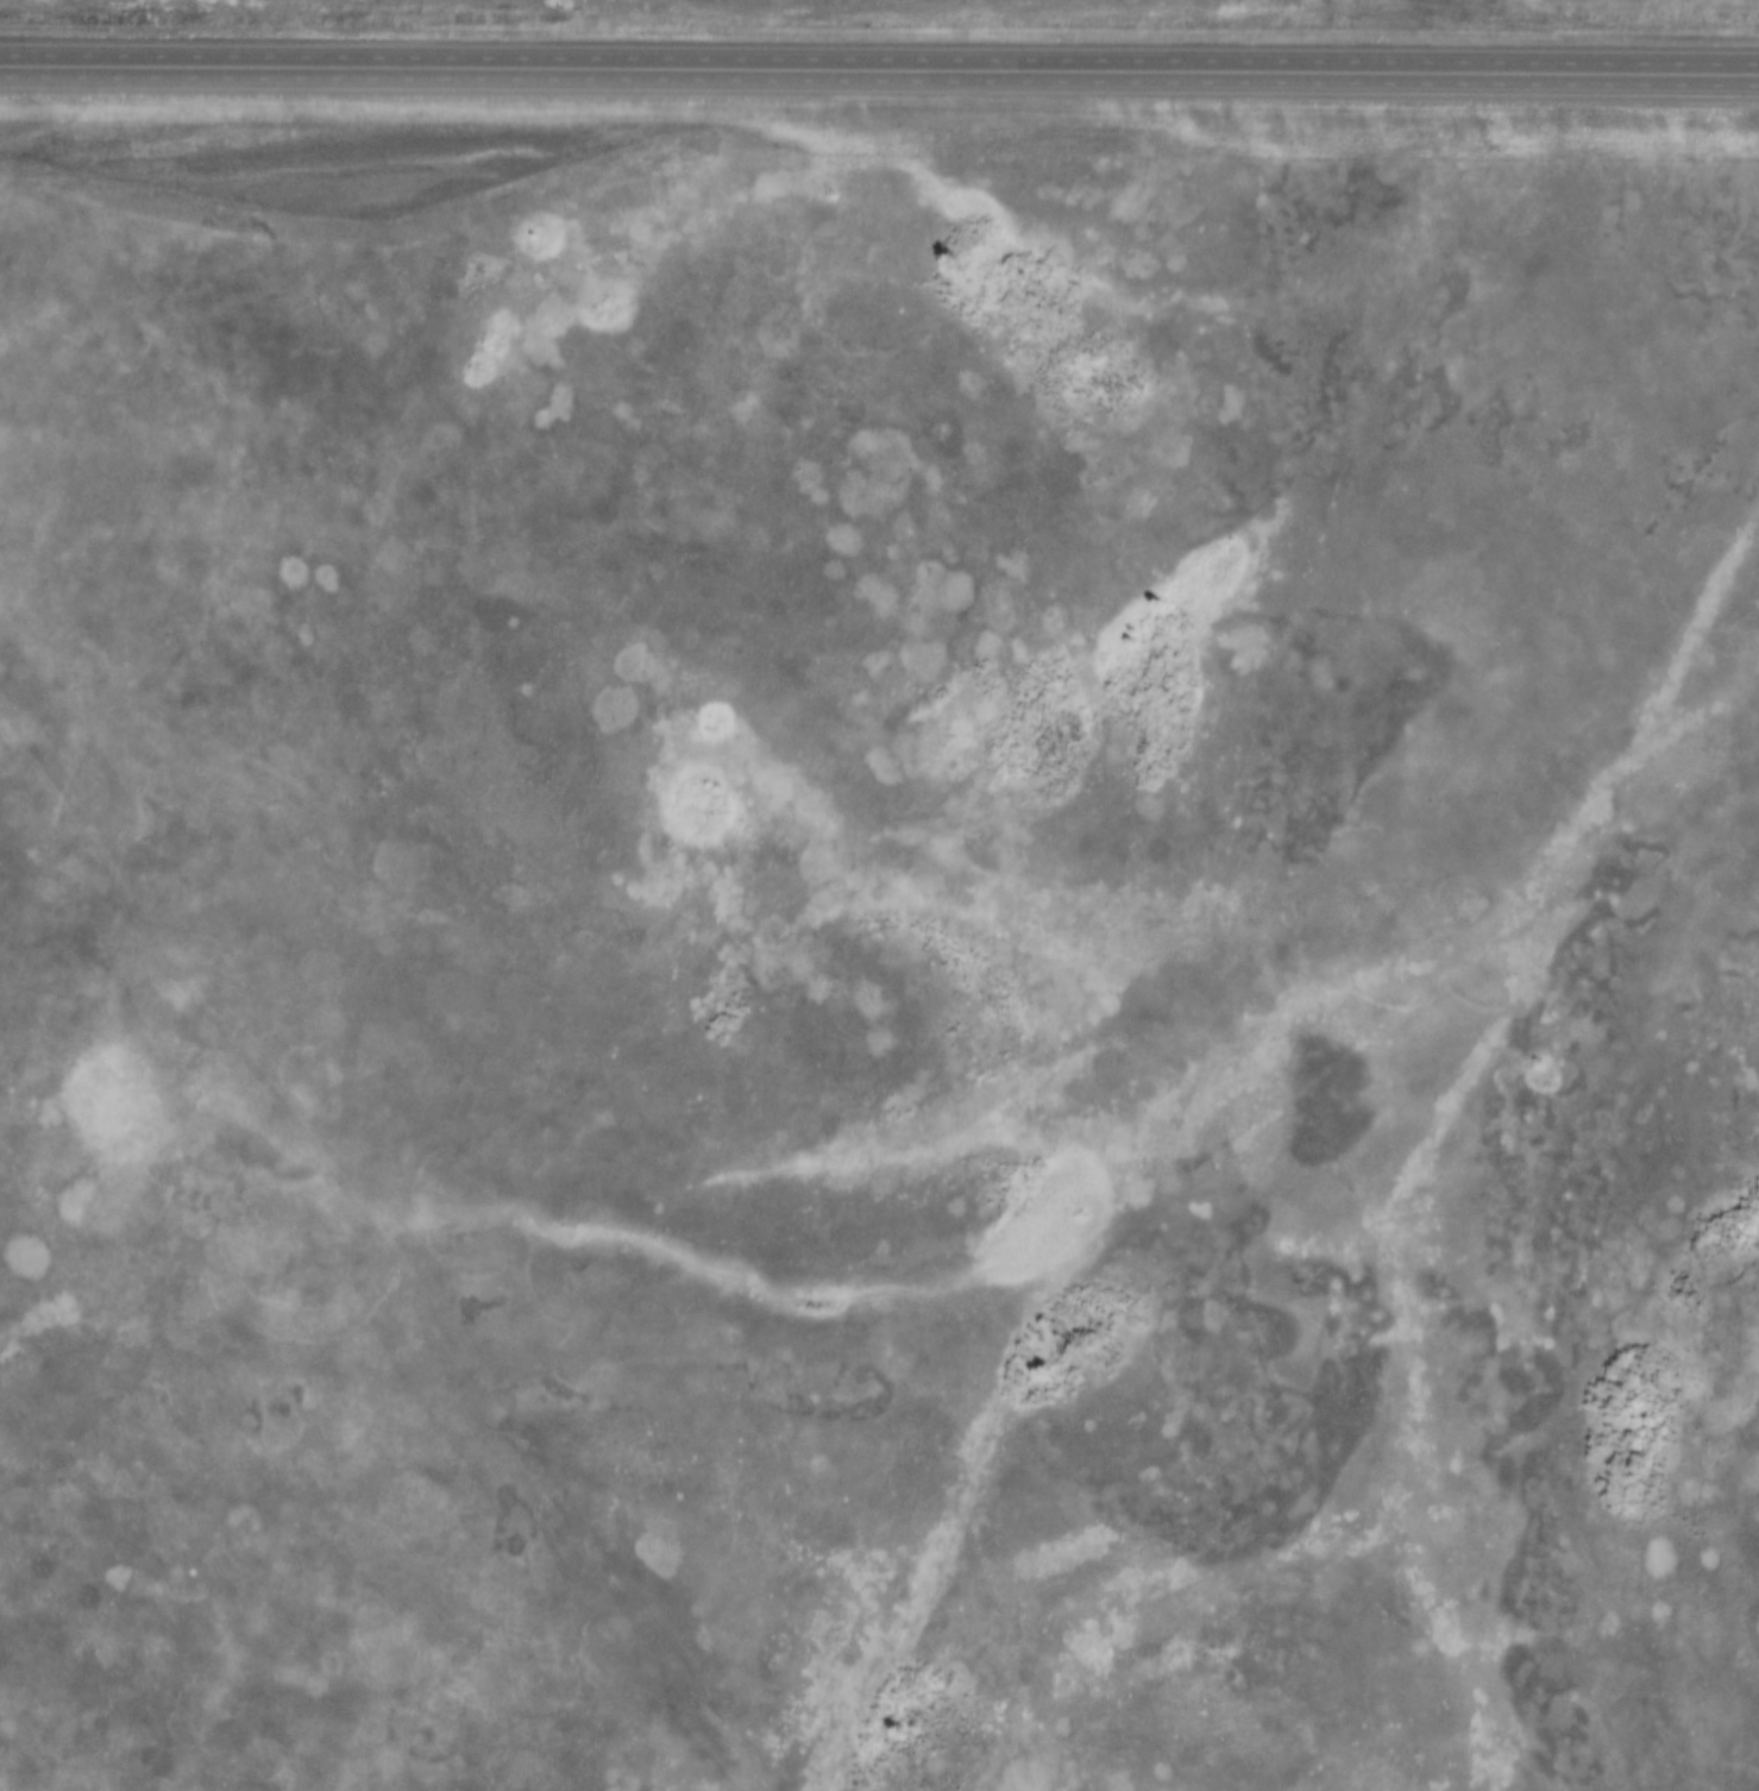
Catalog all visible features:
road: (879, 64)

